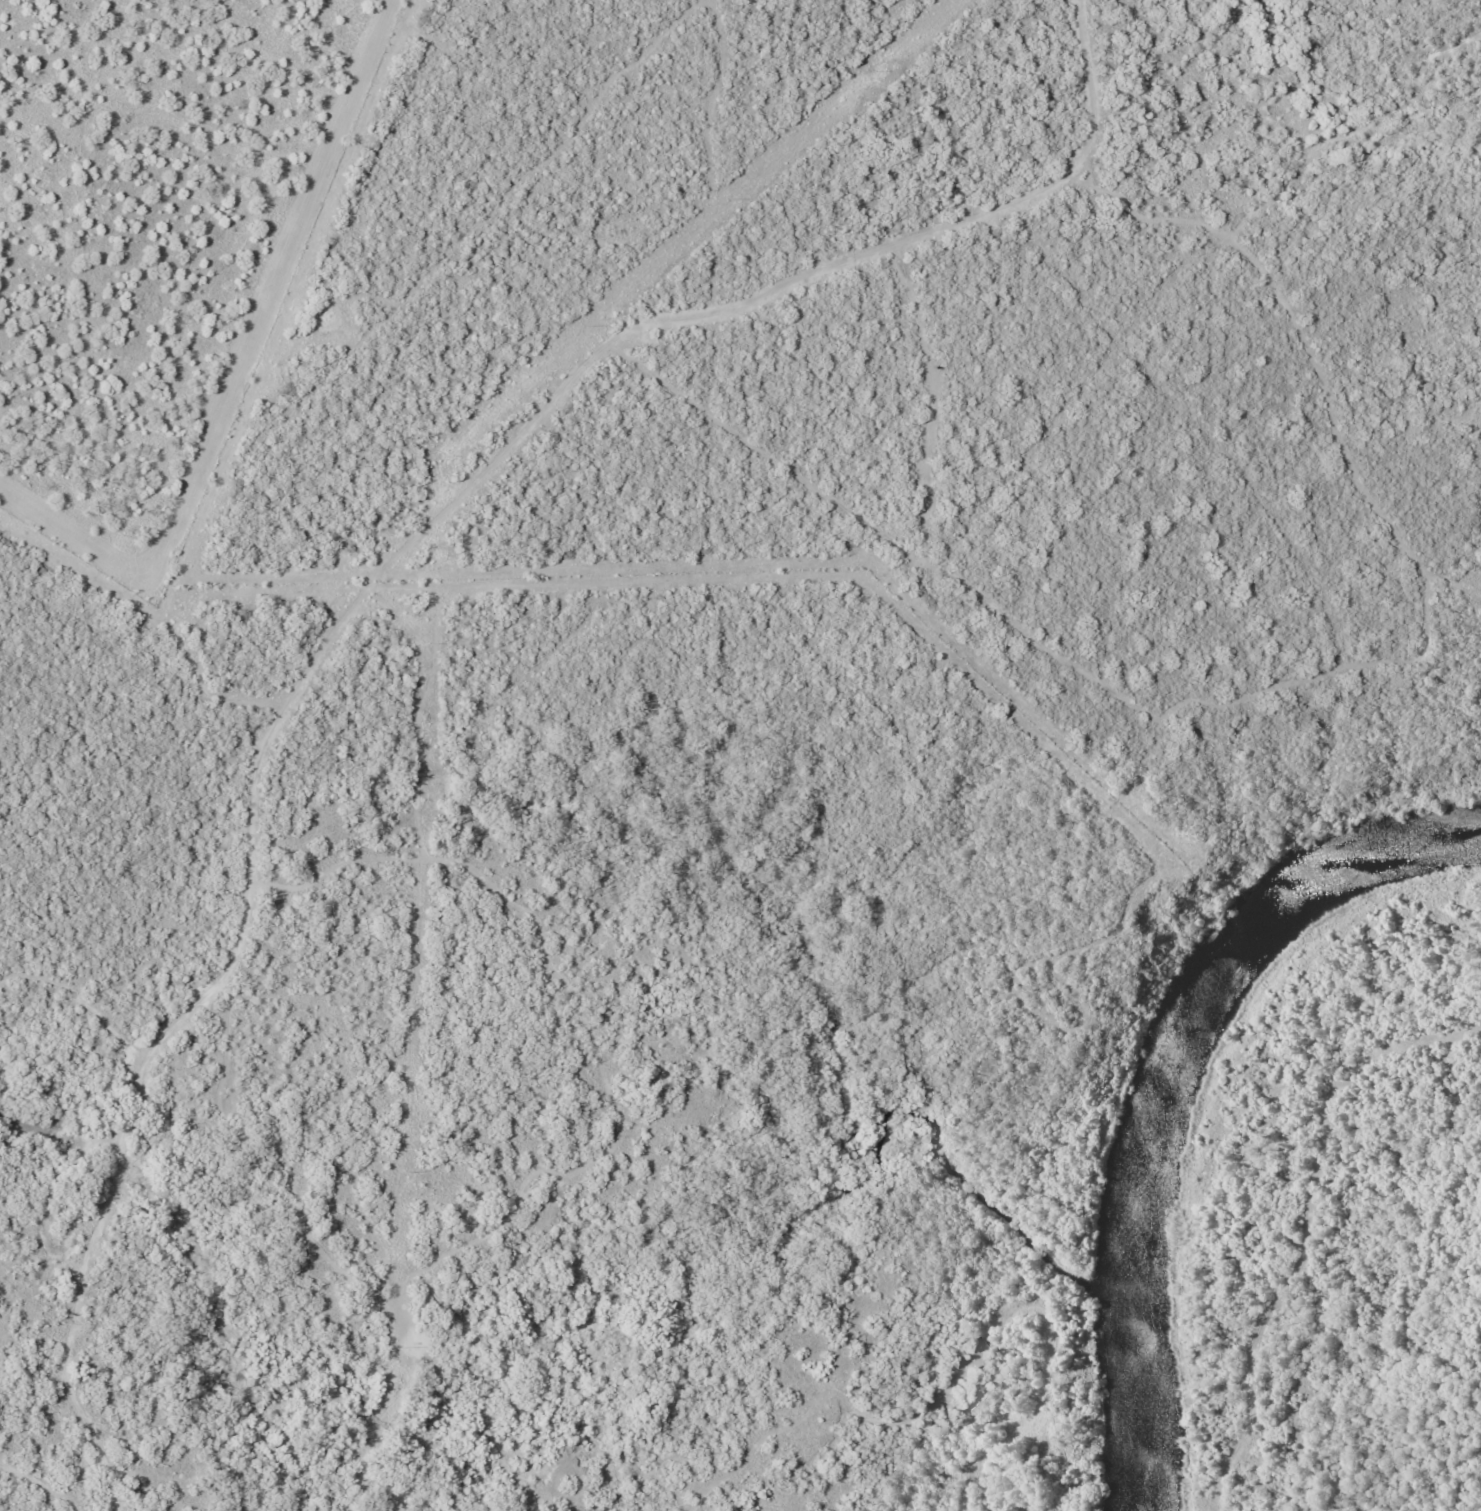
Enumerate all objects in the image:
river: (1171, 1081)
road: (1333, 1244)

